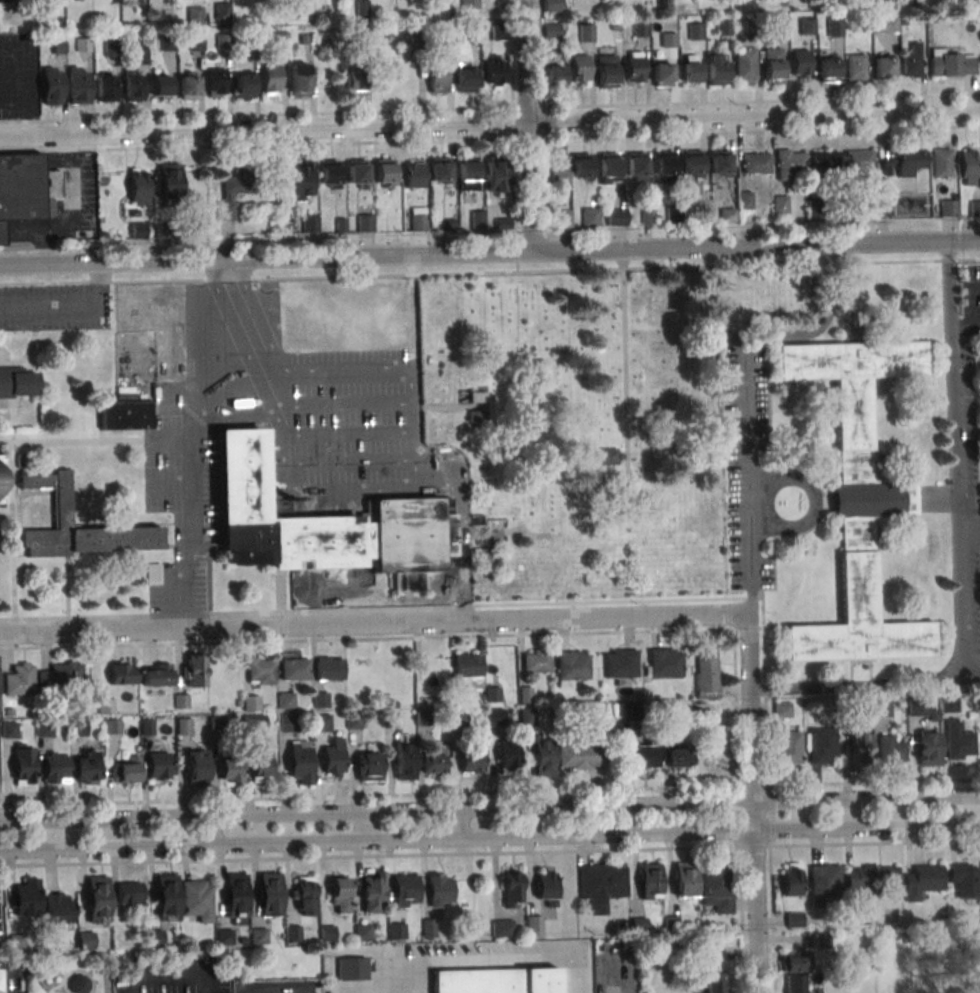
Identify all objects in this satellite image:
building: (78, 0)
building: (5, 1)
building: (138, 2)
building: (469, 4)
building: (552, 6)
building: (361, 9)
building: (222, 11)
building: (165, 13)
building: (194, 14)
building: (903, 21)
building: (883, 24)
building: (807, 25)
building: (401, 26)
building: (615, 26)
building: (724, 26)
building: (780, 26)
building: (751, 27)
building: (640, 28)
building: (834, 28)
building: (552, 30)
building: (695, 31)
building: (497, 32)
building: (586, 32)
building: (473, 34)
building: (416, 35)
building: (361, 36)
building: (444, 36)
building: (303, 39)
building: (279, 40)
building: (668, 40)
building: (168, 41)
building: (223, 41)
building: (195, 42)
building: (82, 45)
building: (57, 46)
building: (112, 49)
building: (141, 56)
building: (911, 61)
building: (952, 63)
building: (744, 64)
building: (772, 64)
building: (799, 64)
building: (634, 66)
building: (856, 66)
building: (881, 66)
building: (606, 67)
building: (826, 67)
building: (690, 68)
building: (716, 68)
building: (495, 70)
building: (579, 70)
building: (661, 74)
building: (553, 76)
building: (437, 78)
building: (464, 78)
building: (270, 79)
building: (298, 79)
building: (216, 81)
building: (354, 83)
building: (133, 84)
building: (51, 85)
building: (78, 85)
building: (161, 85)
building: (243, 85)
building: (188, 86)
building: (105, 87)
road: (490, 109)
road: (542, 114)
road: (513, 120)
road: (489, 121)
road: (528, 125)
road: (490, 139)
building: (858, 161)
building: (942, 161)
building: (718, 162)
building: (755, 162)
building: (823, 162)
building: (903, 162)
building: (691, 163)
building: (789, 163)
building: (664, 165)
building: (581, 166)
building: (636, 166)
building: (968, 166)
building: (608, 168)
building: (439, 170)
building: (384, 171)
building: (328, 172)
building: (559, 172)
building: (356, 173)
building: (467, 173)
building: (414, 174)
building: (497, 174)
building: (168, 181)
building: (301, 181)
building: (21, 187)
building: (138, 187)
building: (234, 191)
building: (745, 200)
building: (780, 203)
building: (814, 207)
building: (949, 207)
building: (974, 207)
building: (883, 208)
building: (866, 209)
road: (70, 213)
building: (673, 214)
building: (727, 215)
building: (590, 216)
building: (616, 216)
building: (702, 216)
building: (647, 217)
building: (418, 218)
building: (477, 219)
building: (563, 219)
building: (365, 222)
building: (310, 223)
building: (502, 223)
building: (449, 224)
building: (341, 225)
building: (199, 229)
building: (137, 230)
building: (161, 230)
road: (531, 230)
road: (48, 251)
road: (489, 252)
road: (516, 255)
road: (227, 270)
road: (489, 271)
road: (234, 286)
parking lot: (54, 306)
road: (966, 323)
road: (257, 336)
road: (399, 376)
building: (17, 382)
road: (624, 384)
road: (745, 393)
building: (478, 396)
road: (454, 407)
building: (479, 414)
building: (125, 415)
road: (11, 421)
park: (589, 421)
parking lot: (340, 440)
road: (76, 441)
building: (606, 456)
road: (193, 463)
road: (956, 471)
building: (2, 481)
road: (294, 487)
road: (30, 492)
building: (858, 499)
building: (62, 507)
road: (6, 514)
building: (324, 524)
road: (12, 525)
road: (462, 529)
building: (481, 557)
building: (153, 572)
road: (67, 588)
road: (374, 608)
road: (728, 614)
road: (371, 623)
road: (748, 629)
road: (445, 637)
building: (536, 661)
building: (664, 662)
building: (620, 665)
building: (571, 666)
building: (329, 668)
building: (194, 669)
building: (260, 669)
building: (294, 669)
building: (467, 669)
building: (122, 673)
building: (706, 673)
building: (155, 674)
building: (59, 676)
building: (19, 679)
road: (764, 685)
road: (855, 687)
building: (492, 694)
building: (525, 695)
building: (286, 699)
building: (320, 700)
building: (180, 701)
building: (237, 702)
building: (250, 702)
building: (948, 702)
building: (392, 704)
building: (106, 705)
building: (979, 705)
building: (918, 706)
building: (881, 708)
building: (782, 709)
building: (9, 712)
building: (633, 712)
building: (669, 713)
building: (969, 715)
building: (495, 716)
building: (526, 716)
building: (422, 718)
building: (457, 718)
building: (388, 719)
building: (847, 720)
building: (353, 721)
building: (216, 722)
building: (254, 722)
building: (287, 722)
building: (321, 722)
building: (112, 726)
building: (147, 726)
building: (183, 726)
building: (44, 728)
building: (78, 728)
building: (9, 729)
building: (958, 741)
building: (821, 745)
building: (789, 748)
building: (859, 748)
building: (890, 748)
building: (928, 748)
building: (333, 754)
building: (580, 755)
building: (644, 755)
building: (507, 756)
building: (678, 756)
building: (542, 757)
building: (404, 760)
building: (434, 761)
building: (471, 761)
building: (260, 762)
building: (300, 762)
building: (23, 763)
building: (159, 765)
building: (367, 766)
building: (55, 767)
building: (86, 767)
building: (127, 768)
building: (196, 768)
building: (230, 769)
road: (873, 782)
road: (751, 785)
road: (368, 795)
road: (751, 804)
road: (490, 808)
road: (771, 815)
road: (734, 816)
road: (460, 824)
road: (211, 829)
road: (490, 838)
road: (800, 845)
road: (754, 846)
road: (442, 855)
building: (872, 877)
building: (685, 878)
building: (964, 878)
building: (792, 879)
building: (922, 879)
building: (650, 880)
building: (823, 883)
building: (601, 884)
building: (512, 886)
building: (545, 886)
building: (715, 888)
building: (405, 890)
building: (439, 890)
building: (372, 891)
building: (128, 892)
building: (270, 894)
building: (339, 894)
building: (235, 895)
building: (303, 895)
building: (26, 897)
building: (166, 897)
building: (96, 898)
building: (196, 899)
building: (54, 905)
building: (793, 919)
building: (921, 922)
building: (671, 923)
building: (533, 925)
building: (428, 927)
building: (502, 927)
building: (396, 930)
building: (362, 931)
building: (327, 932)
building: (292, 933)
building: (257, 935)
building: (223, 936)
building: (84, 938)
building: (151, 938)
building: (241, 940)
building: (819, 940)
building: (16, 941)
building: (713, 952)
road: (487, 961)
building: (793, 962)
building: (352, 968)
building: (496, 980)
building: (715, 982)
road: (206, 983)
building: (795, 983)
road: (0, 984)
building: (78, 984)
building: (817, 991)

